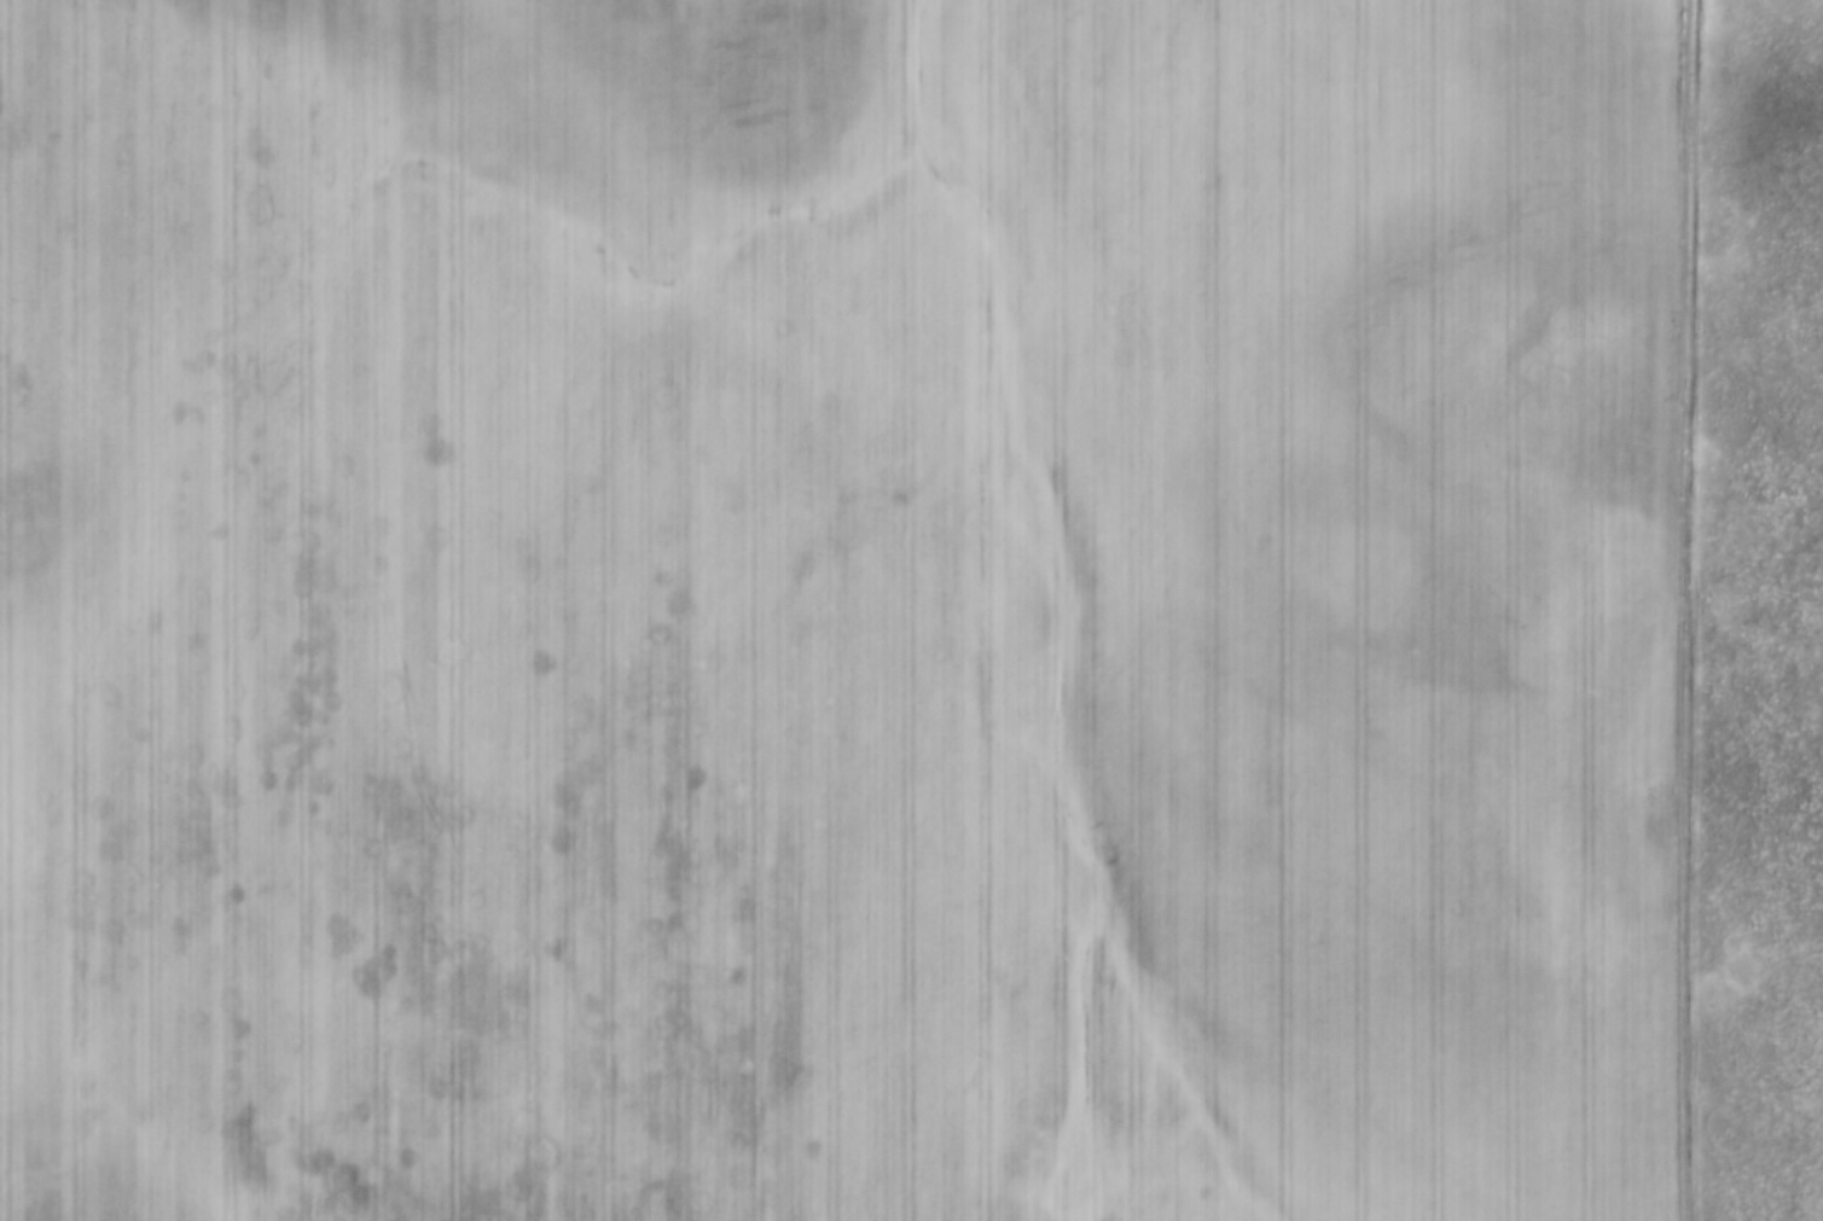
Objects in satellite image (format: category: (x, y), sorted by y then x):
road: (1678, 610)

